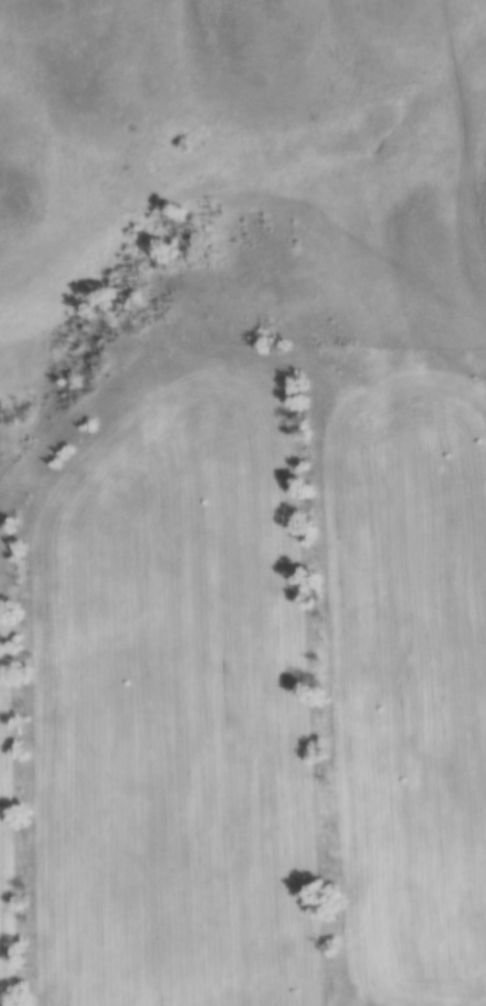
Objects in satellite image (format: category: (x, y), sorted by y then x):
road: (458, 156)

